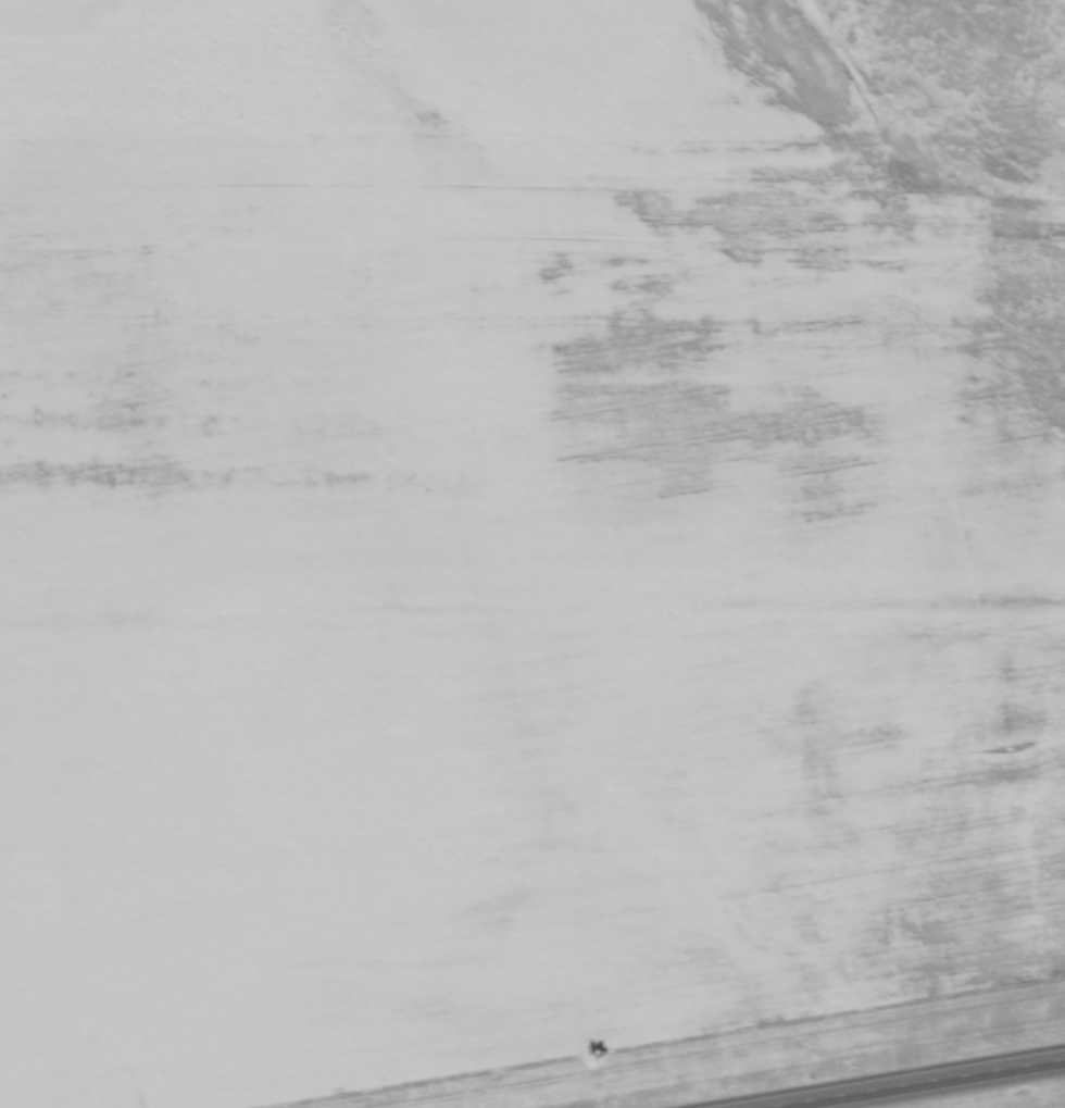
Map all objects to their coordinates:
road: (910, 1082)
road: (985, 1090)

